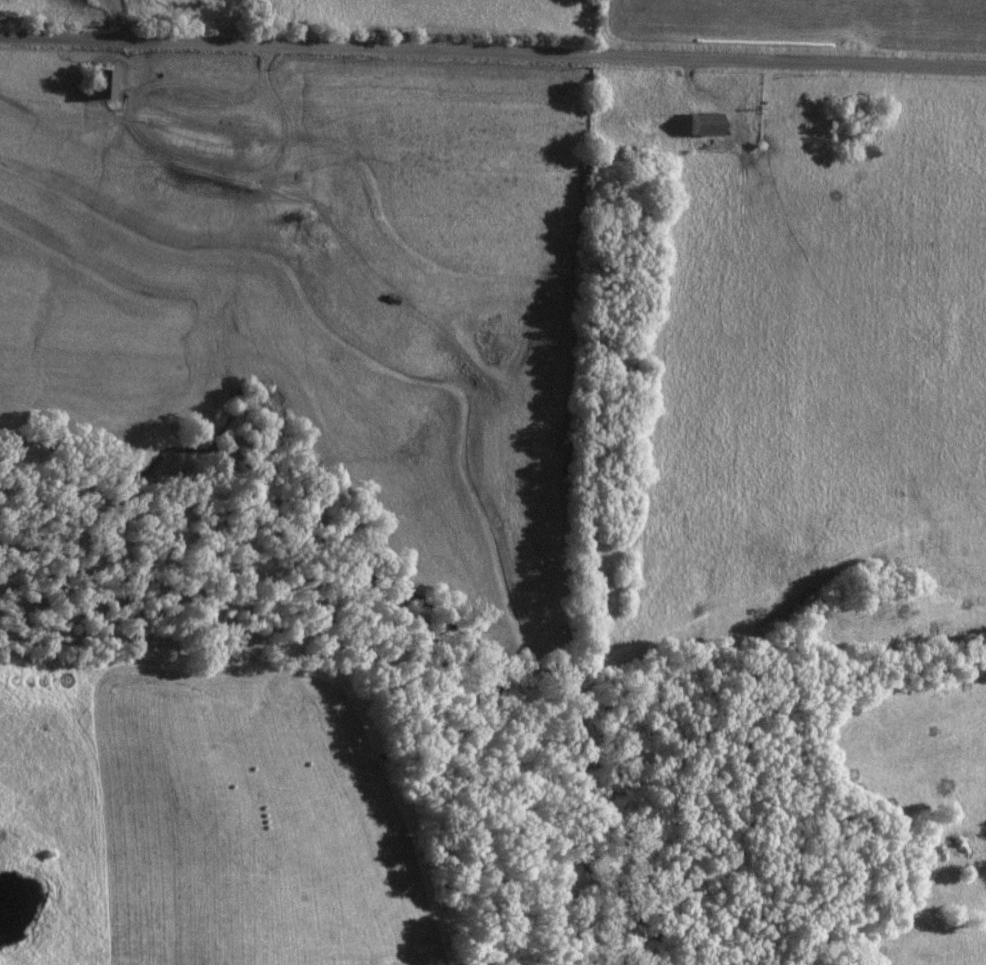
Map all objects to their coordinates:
road: (492, 50)
building: (102, 85)
building: (706, 125)

